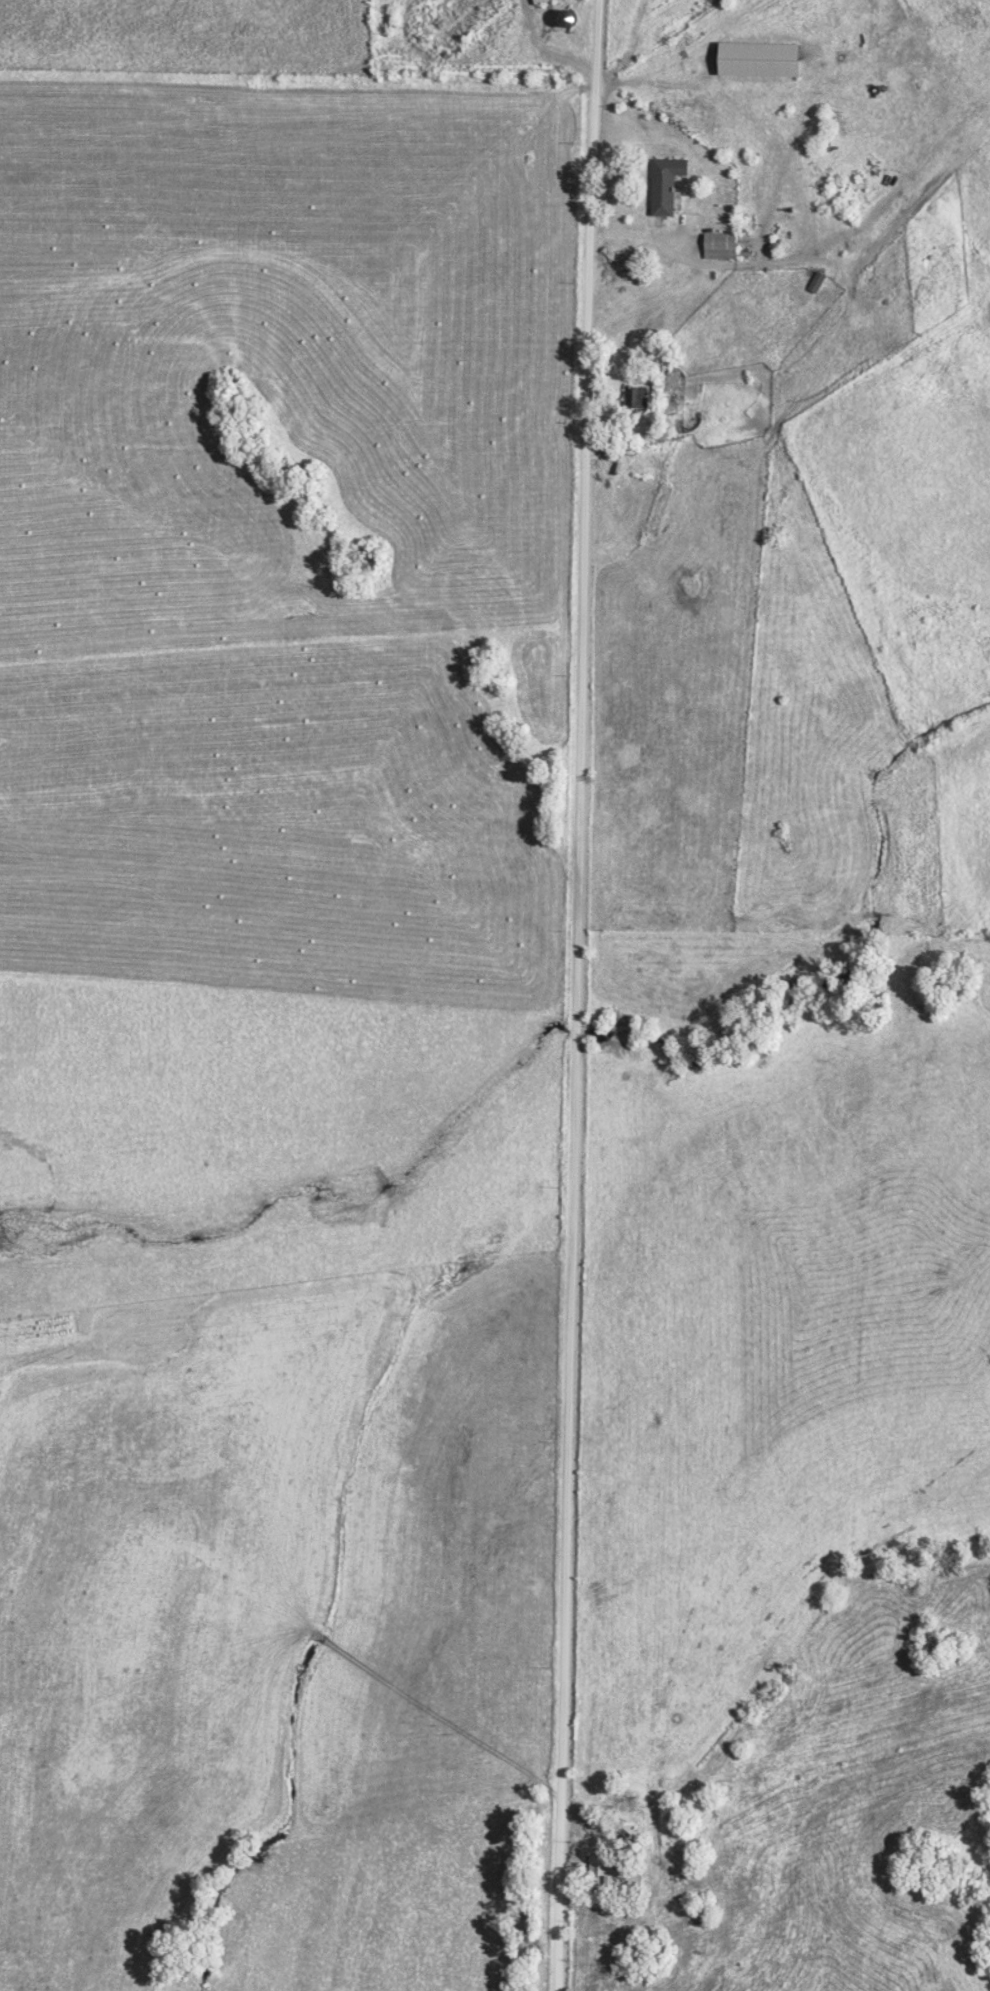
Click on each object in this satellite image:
building: (545, 0)
building: (752, 60)
building: (674, 182)
road: (639, 242)
building: (729, 243)
road: (574, 995)
building: (608, 1869)

